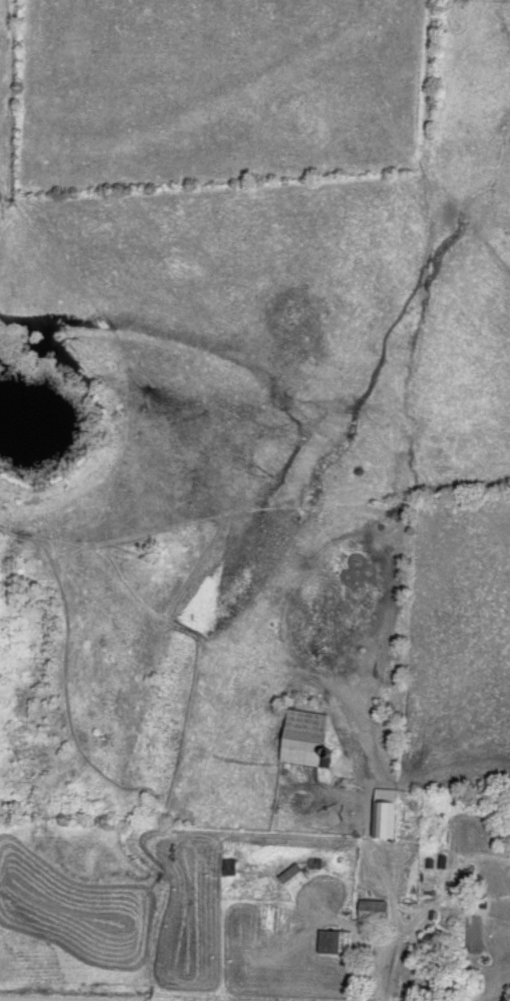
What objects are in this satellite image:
building: (309, 734)
building: (388, 809)
road: (374, 842)
building: (377, 907)
building: (340, 939)
road: (49, 999)

